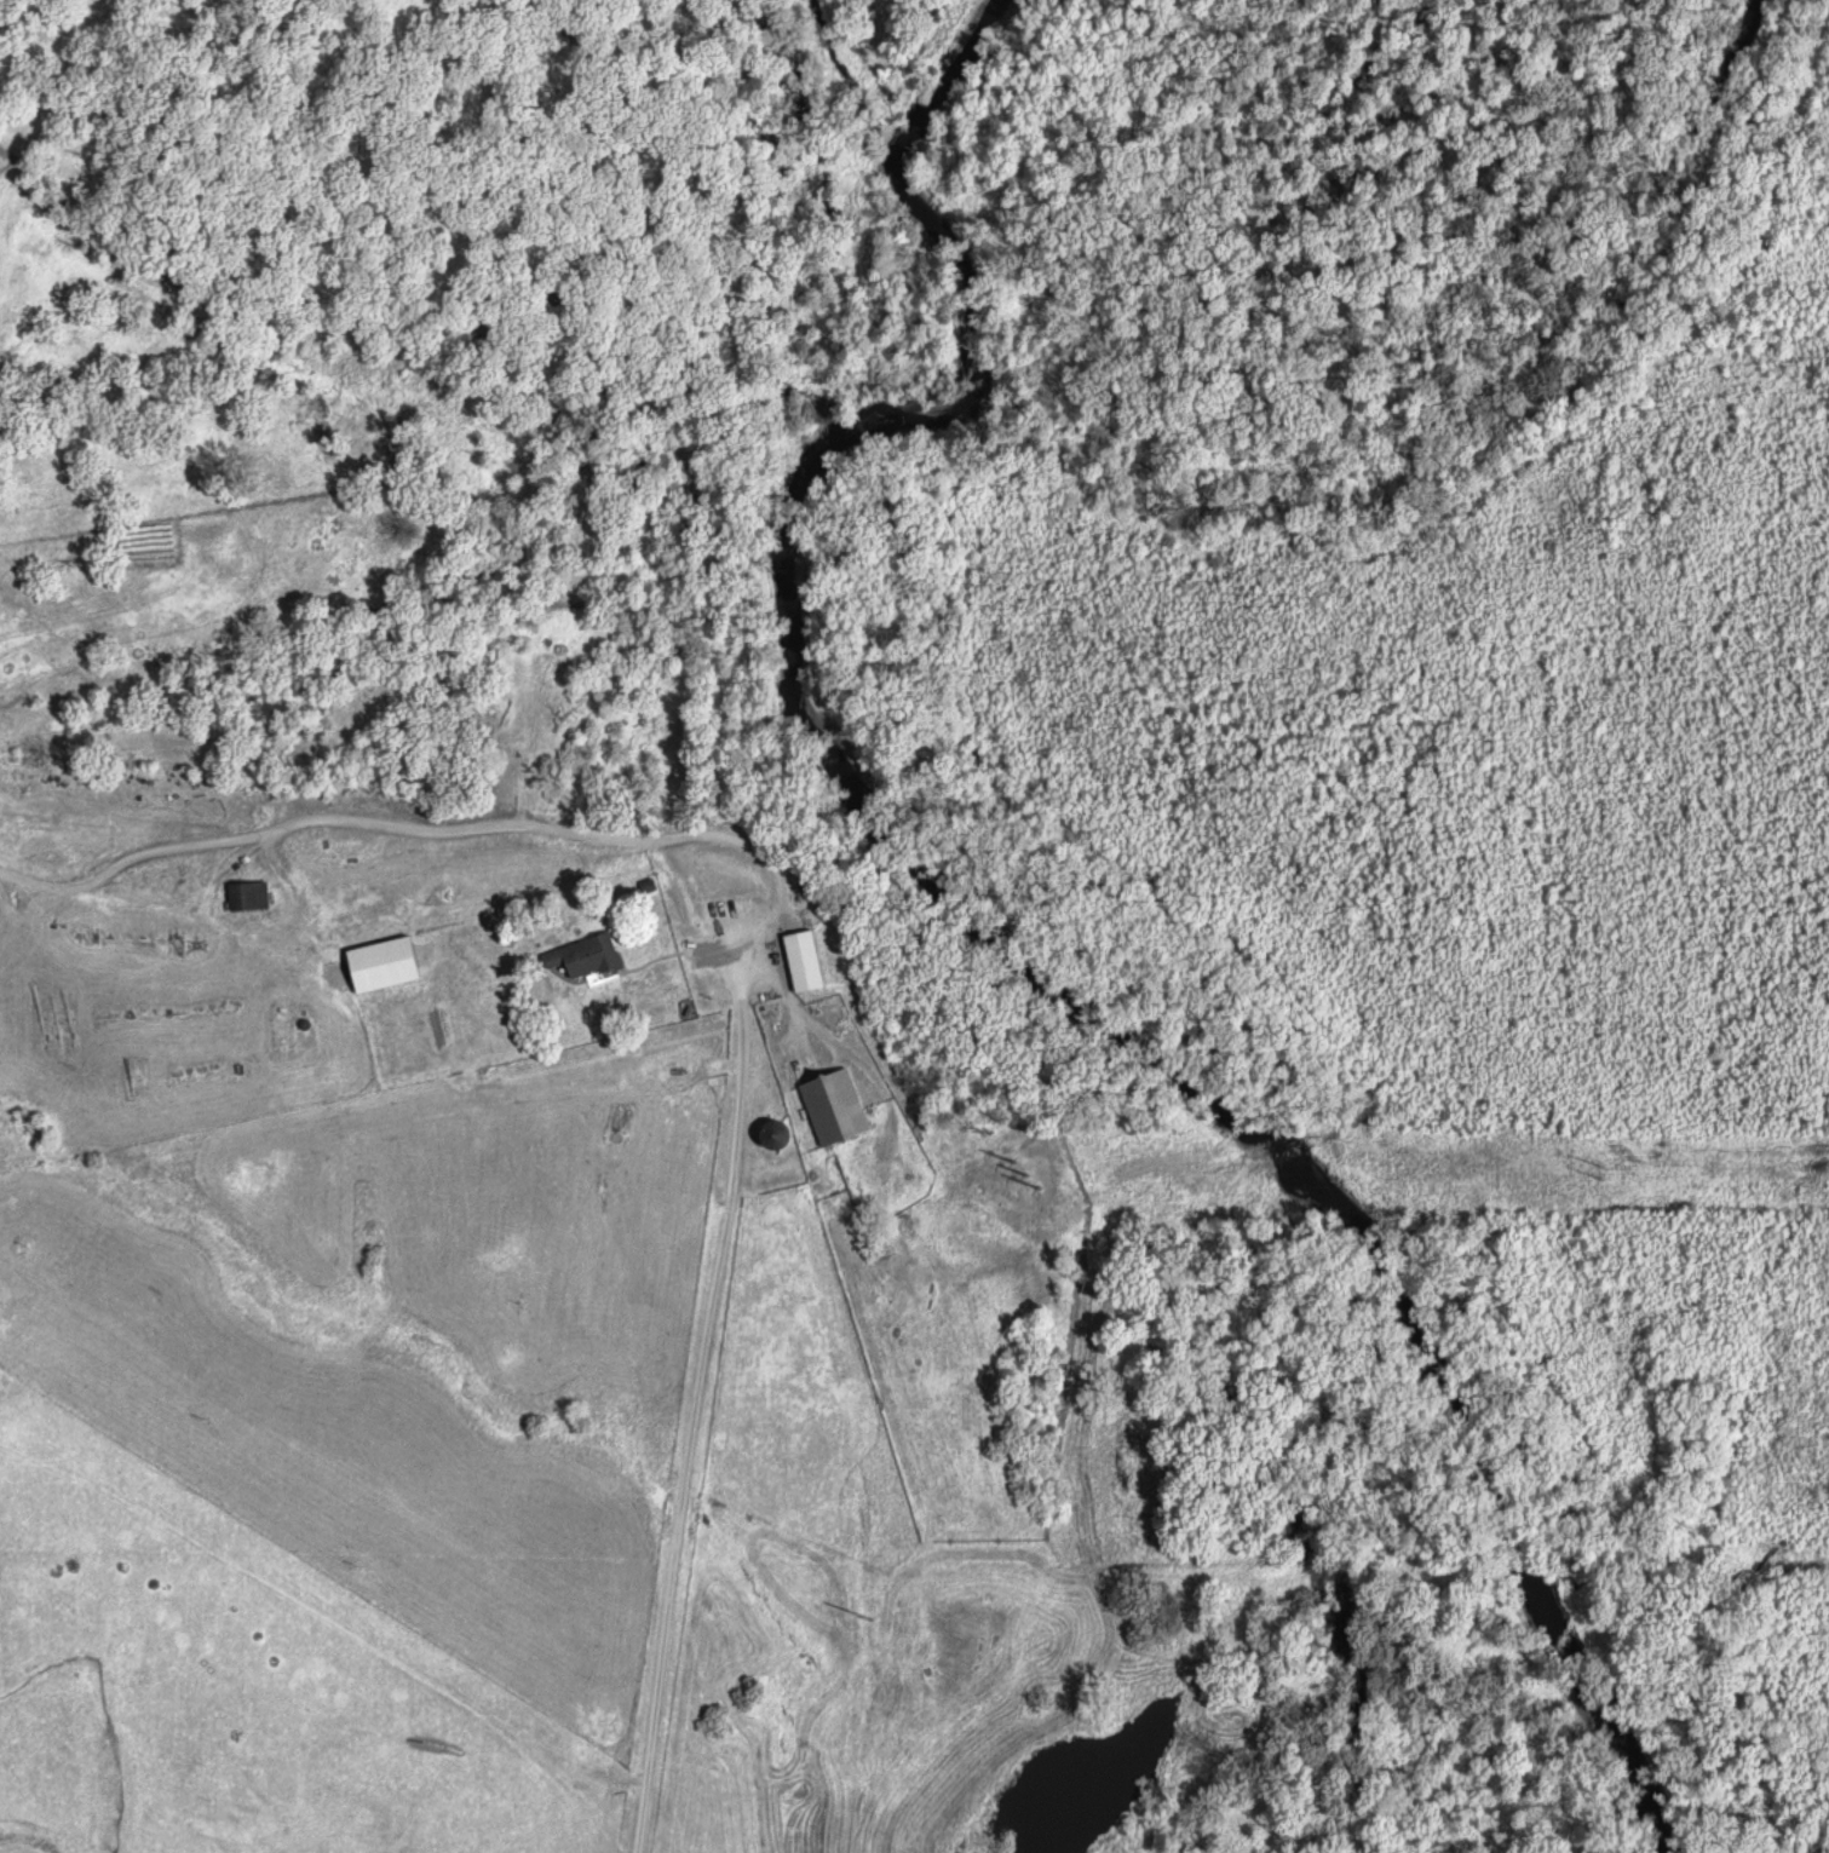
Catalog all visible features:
building: (744, 885)
building: (246, 894)
building: (583, 955)
building: (801, 960)
building: (381, 963)
building: (478, 1058)
building: (832, 1105)
building: (772, 1134)
road: (688, 1464)

